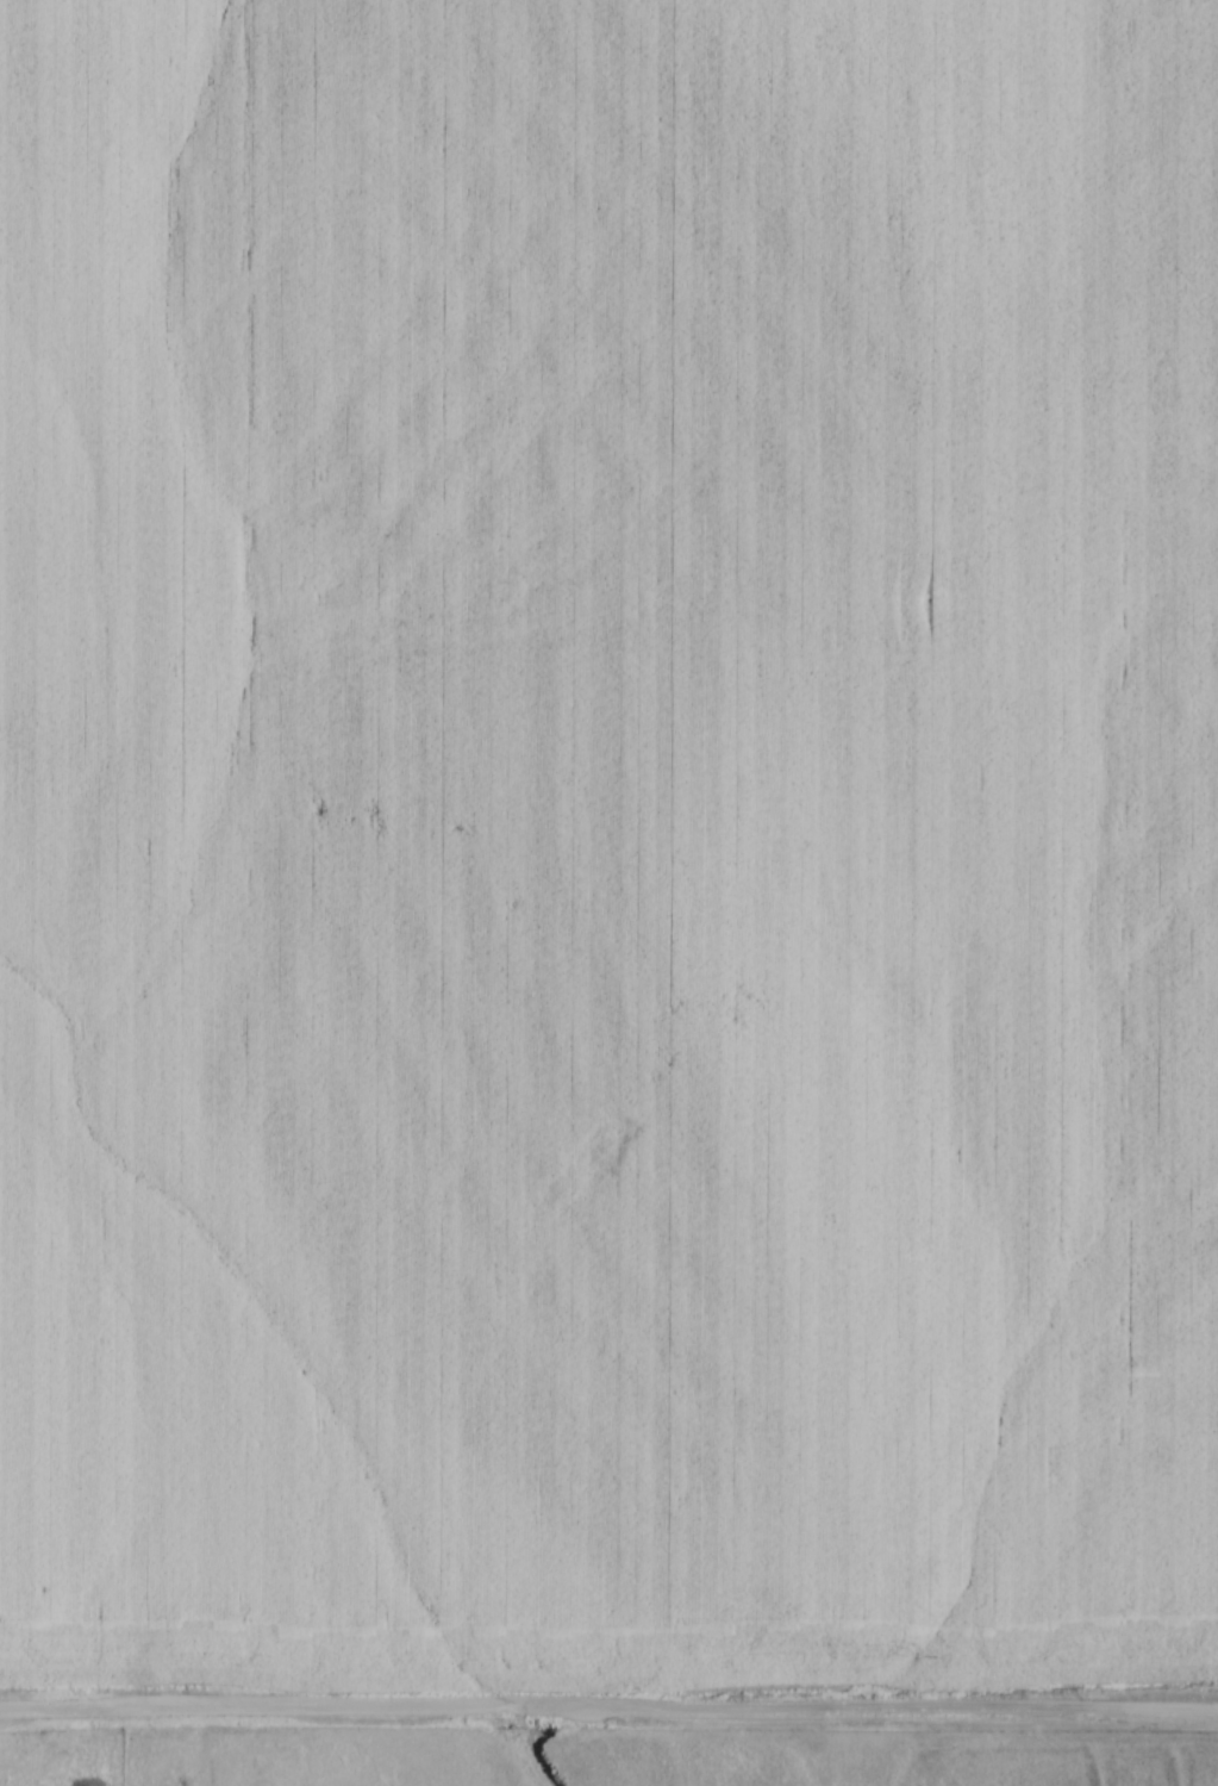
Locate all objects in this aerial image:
road: (608, 1713)

